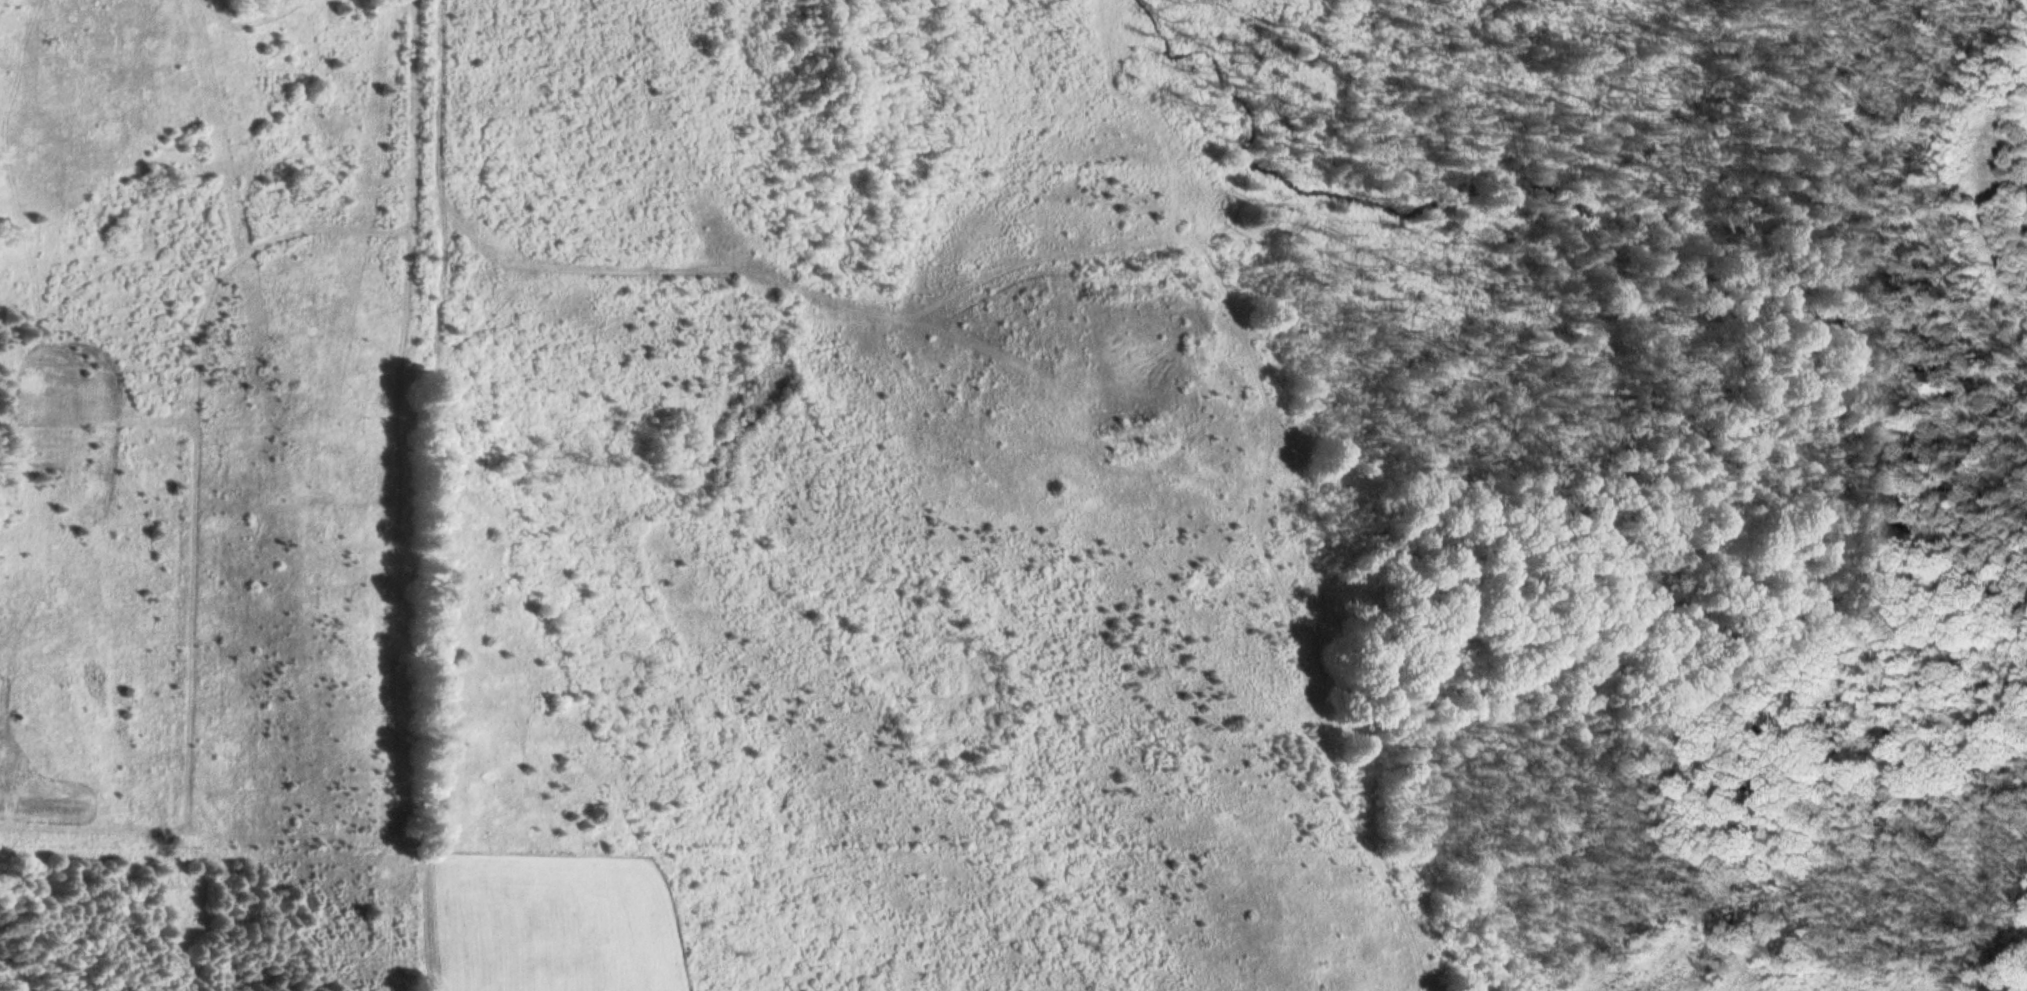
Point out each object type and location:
road: (511, 260)

